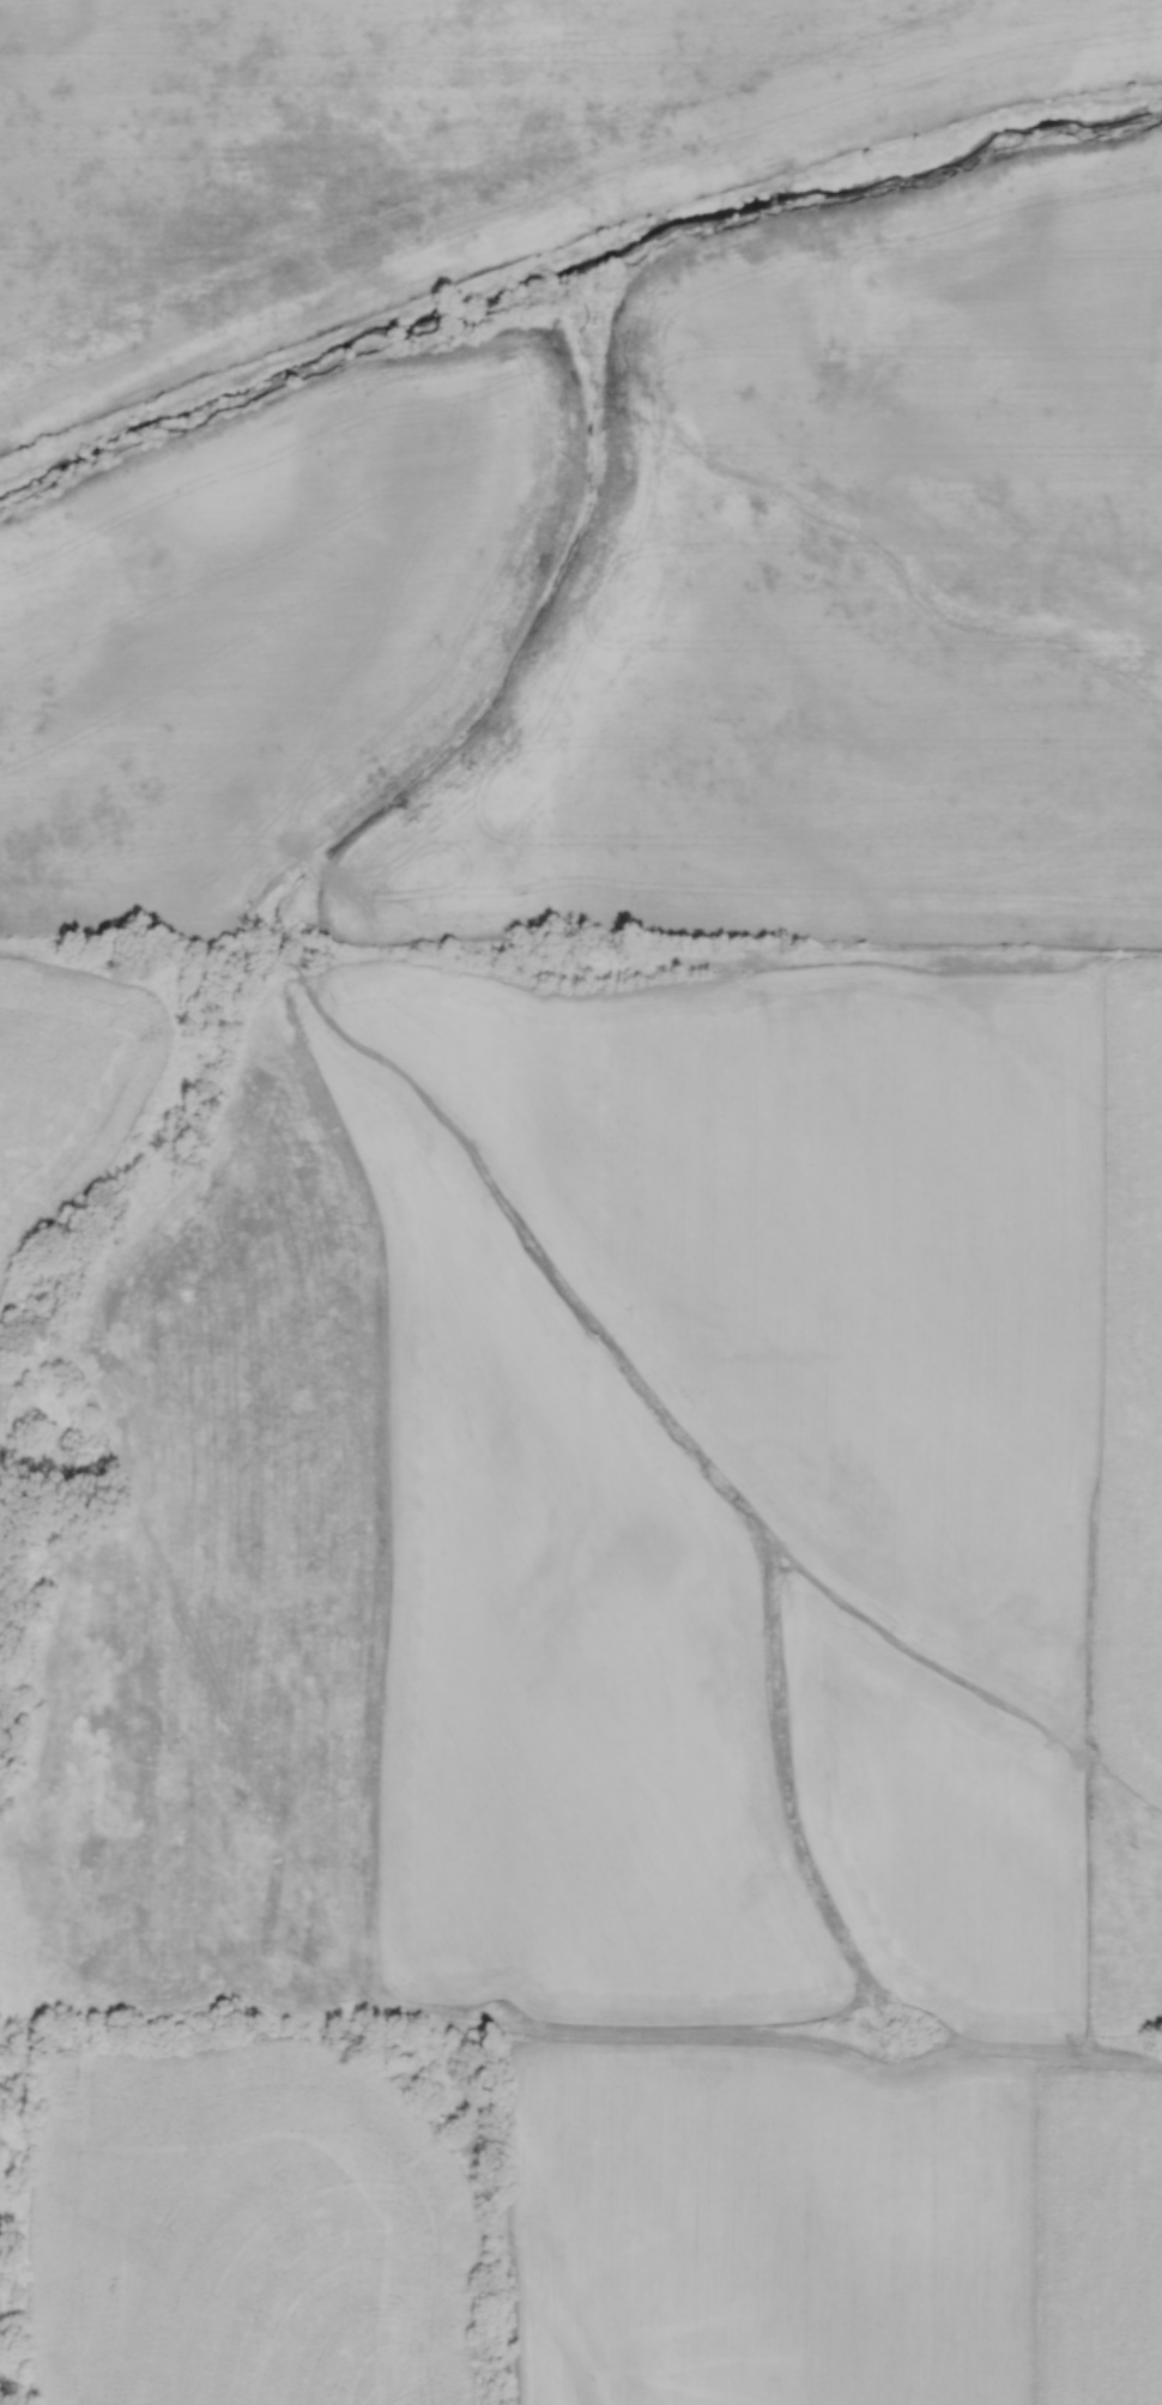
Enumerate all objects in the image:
river: (569, 270)

